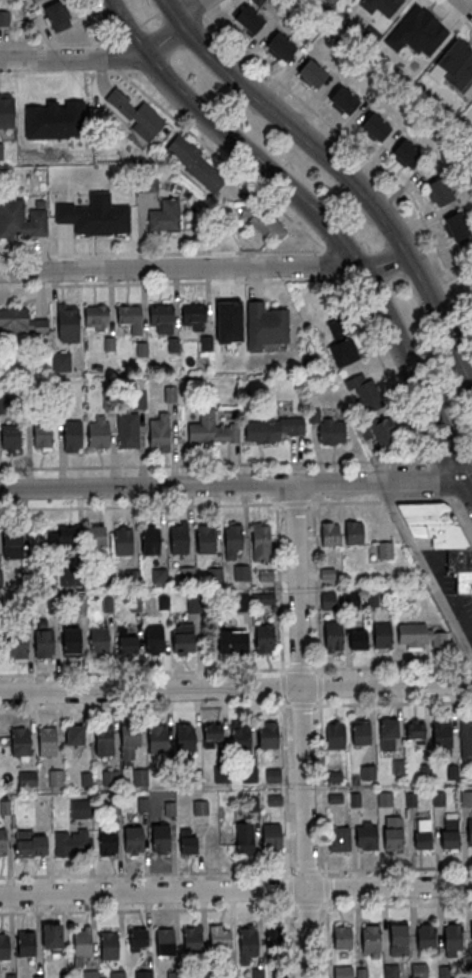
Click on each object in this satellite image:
building: (35, 1)
building: (331, 1)
road: (466, 4)
road: (166, 5)
building: (380, 7)
road: (215, 8)
road: (455, 13)
building: (56, 15)
building: (4, 17)
road: (149, 17)
building: (249, 20)
road: (94, 22)
building: (416, 25)
road: (126, 30)
road: (57, 43)
building: (280, 47)
road: (111, 56)
road: (111, 60)
building: (454, 65)
road: (76, 72)
building: (312, 73)
building: (344, 101)
building: (7, 110)
building: (137, 113)
building: (54, 122)
building: (375, 127)
road: (192, 135)
road: (352, 144)
building: (1, 152)
building: (407, 154)
building: (194, 164)
road: (340, 171)
building: (440, 191)
building: (58, 192)
building: (95, 215)
building: (165, 215)
building: (21, 219)
building: (266, 224)
road: (298, 225)
road: (322, 225)
building: (456, 225)
road: (163, 254)
road: (333, 264)
road: (383, 264)
road: (175, 268)
road: (353, 278)
road: (173, 282)
building: (471, 285)
building: (193, 312)
building: (96, 316)
building: (131, 318)
building: (161, 318)
building: (20, 322)
building: (68, 323)
building: (266, 326)
building: (340, 343)
building: (61, 361)
road: (383, 367)
building: (362, 392)
building: (211, 428)
building: (270, 428)
building: (328, 428)
building: (380, 429)
building: (128, 430)
building: (159, 432)
building: (73, 434)
building: (98, 434)
building: (43, 436)
building: (10, 438)
road: (470, 458)
road: (429, 459)
road: (450, 459)
road: (213, 463)
road: (438, 479)
road: (236, 485)
road: (312, 490)
road: (276, 491)
road: (454, 499)
road: (466, 499)
road: (378, 502)
road: (294, 504)
road: (140, 507)
building: (425, 513)
road: (460, 522)
building: (353, 532)
building: (329, 534)
building: (63, 535)
building: (234, 536)
building: (97, 539)
building: (179, 539)
building: (262, 539)
building: (206, 540)
building: (123, 541)
building: (150, 541)
building: (12, 543)
building: (384, 549)
building: (450, 551)
building: (240, 571)
road: (425, 572)
building: (158, 575)
building: (70, 577)
building: (0, 578)
road: (279, 586)
road: (314, 586)
building: (351, 599)
building: (328, 600)
building: (242, 602)
building: (333, 635)
building: (383, 636)
building: (419, 636)
building: (182, 638)
building: (264, 638)
building: (155, 639)
building: (357, 639)
building: (99, 640)
building: (71, 641)
building: (231, 641)
building: (126, 642)
building: (18, 643)
building: (44, 643)
road: (470, 666)
road: (390, 667)
road: (300, 668)
road: (143, 670)
road: (282, 686)
road: (319, 686)
road: (236, 689)
road: (393, 702)
road: (302, 705)
road: (144, 707)
road: (302, 730)
building: (359, 731)
building: (414, 731)
building: (212, 732)
building: (241, 733)
building: (130, 734)
building: (335, 734)
building: (387, 734)
building: (75, 735)
building: (268, 735)
building: (441, 736)
building: (184, 737)
building: (157, 738)
building: (465, 738)
building: (20, 741)
building: (47, 741)
building: (104, 742)
building: (368, 771)
building: (27, 780)
road: (322, 786)
road: (286, 787)
building: (466, 797)
building: (385, 798)
building: (449, 829)
building: (469, 831)
building: (392, 832)
building: (422, 833)
building: (366, 834)
building: (271, 836)
building: (244, 837)
building: (161, 838)
building: (339, 838)
building: (134, 840)
building: (187, 840)
building: (108, 842)
building: (3, 843)
building: (71, 843)
building: (25, 844)
road: (395, 868)
road: (307, 870)
road: (147, 873)
road: (325, 887)
road: (289, 888)
road: (236, 890)
road: (396, 904)
road: (308, 906)
road: (148, 909)
building: (471, 931)
building: (342, 936)
building: (425, 936)
building: (219, 937)
building: (453, 937)
building: (51, 938)
building: (137, 938)
road: (290, 939)
road: (327, 939)
building: (371, 939)
building: (399, 939)
building: (192, 940)
building: (276, 941)
building: (165, 942)
building: (248, 942)
building: (83, 943)
building: (27, 944)
building: (110, 946)
building: (4, 947)
building: (419, 970)
building: (391, 971)
building: (469, 971)
building: (343, 972)
building: (443, 972)
building: (257, 973)
building: (279, 973)
building: (361, 973)
building: (91, 974)
building: (118, 974)
building: (143, 974)
building: (174, 974)
building: (201, 974)
building: (229, 974)
building: (65, 975)
building: (38, 976)

